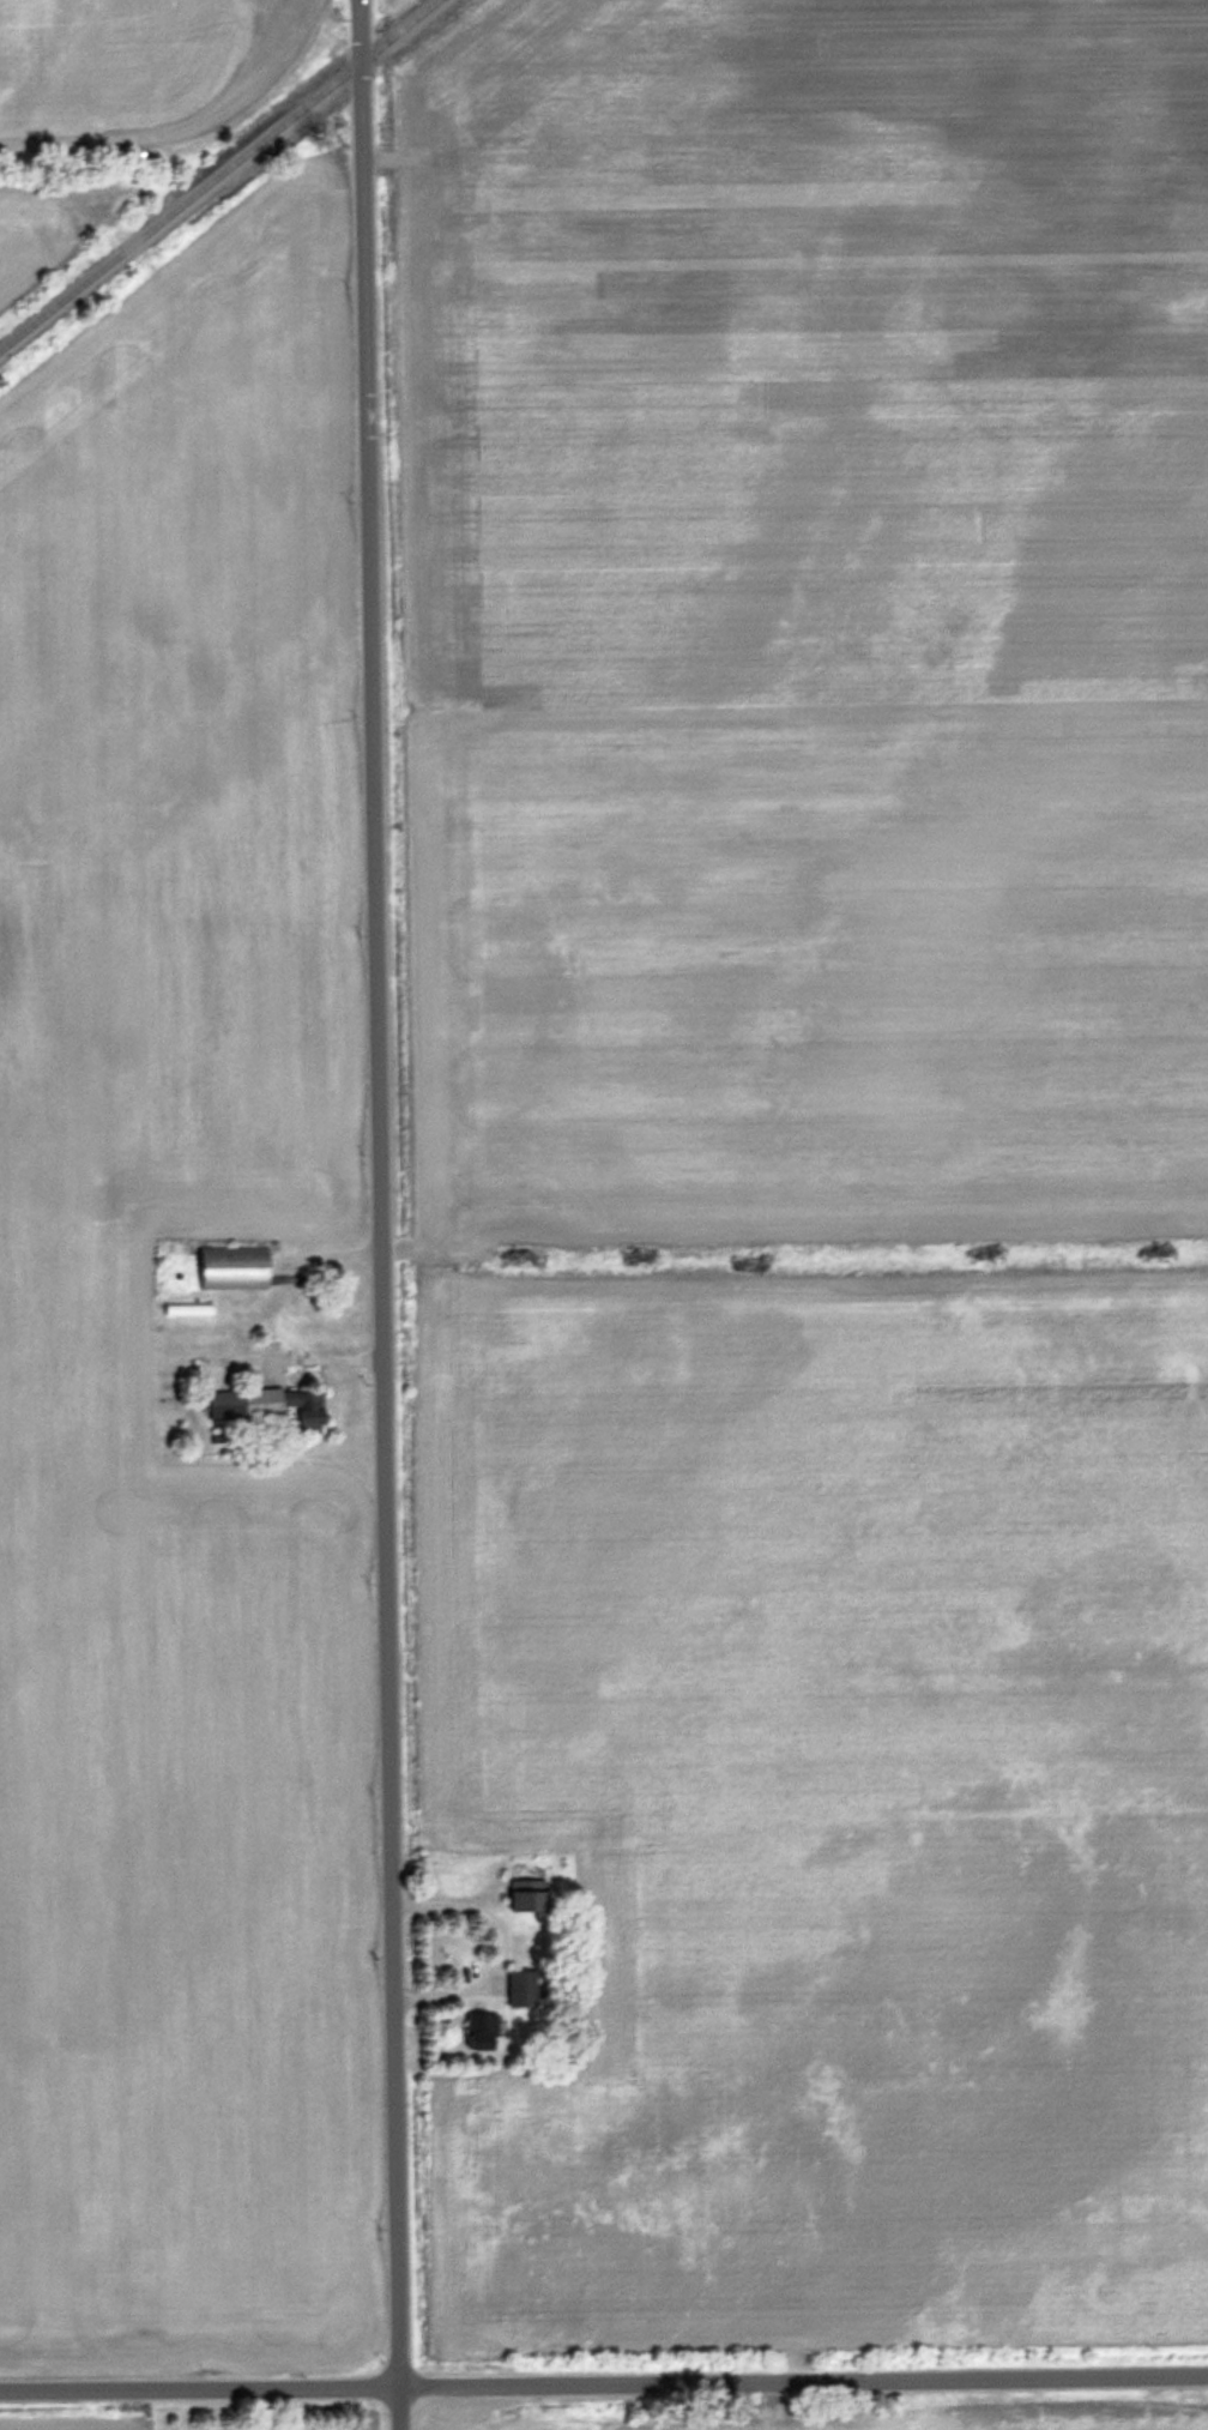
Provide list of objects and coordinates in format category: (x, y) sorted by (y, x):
road: (194, 137)
railway: (219, 174)
building: (455, 205)
road: (387, 1214)
building: (237, 1266)
building: (272, 1401)
building: (532, 1887)
building: (524, 1989)
building: (483, 2031)
road: (604, 2388)
building: (259, 2426)

